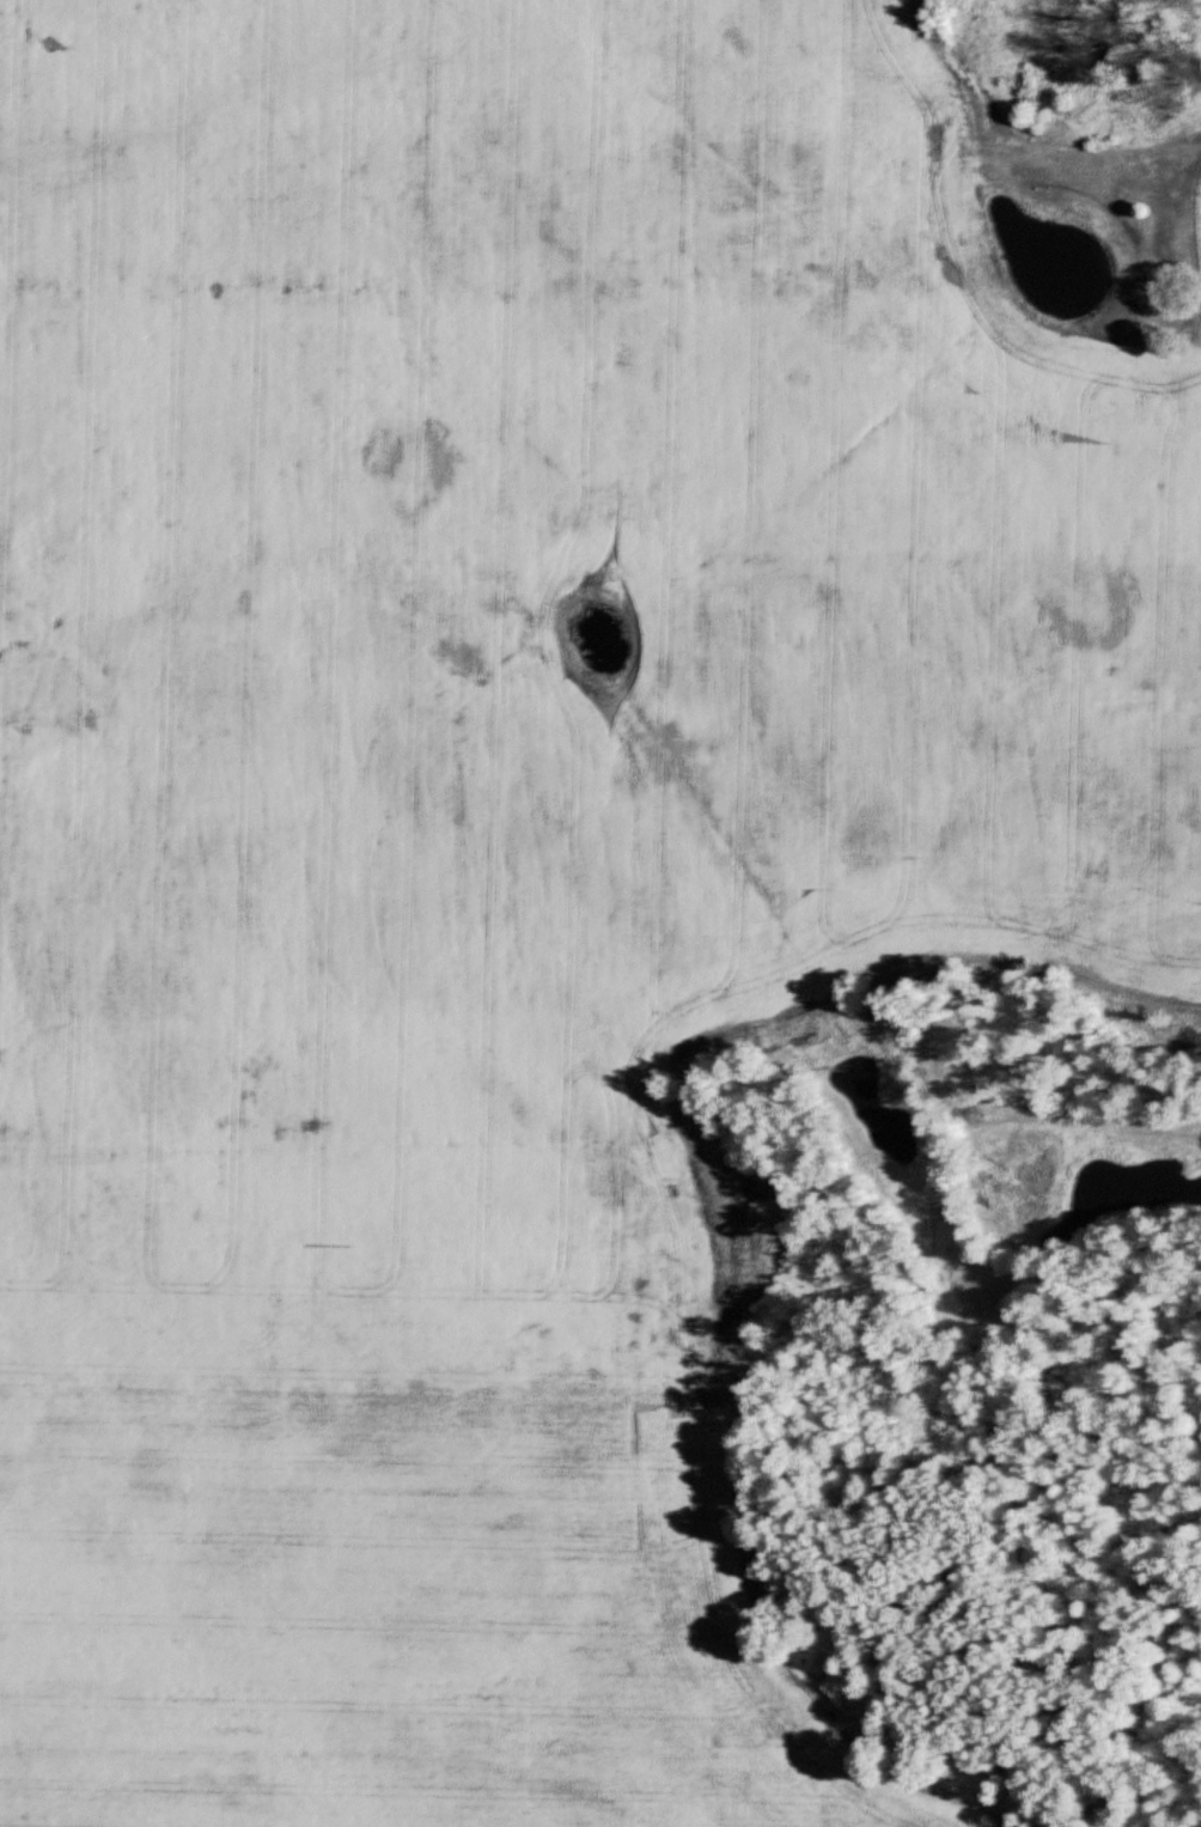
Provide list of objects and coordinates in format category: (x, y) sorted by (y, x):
park: (600, 675)

